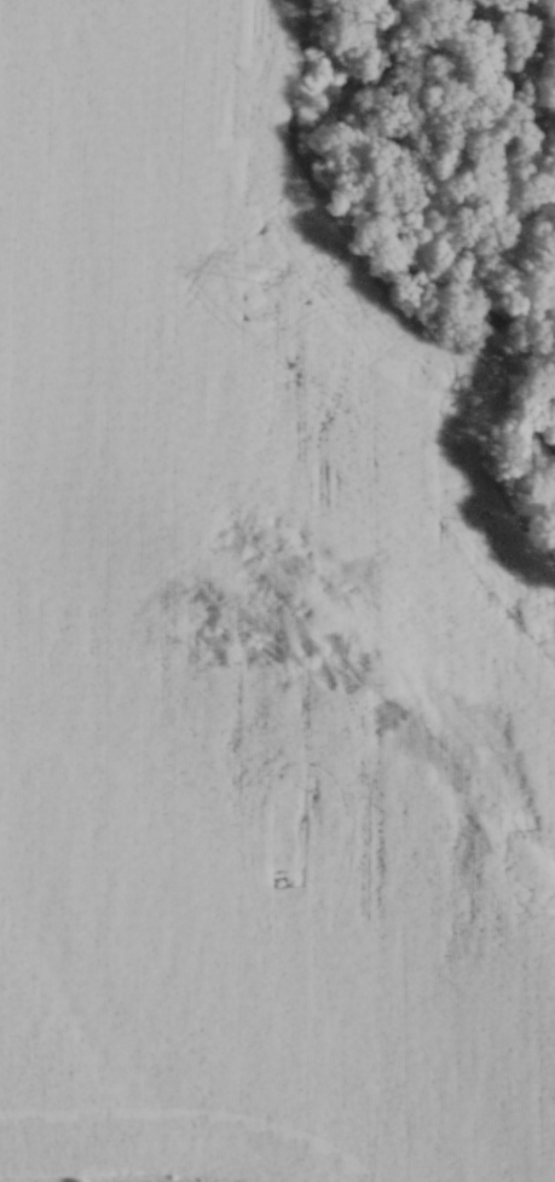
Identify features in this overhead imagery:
power tower: (270, 273)

